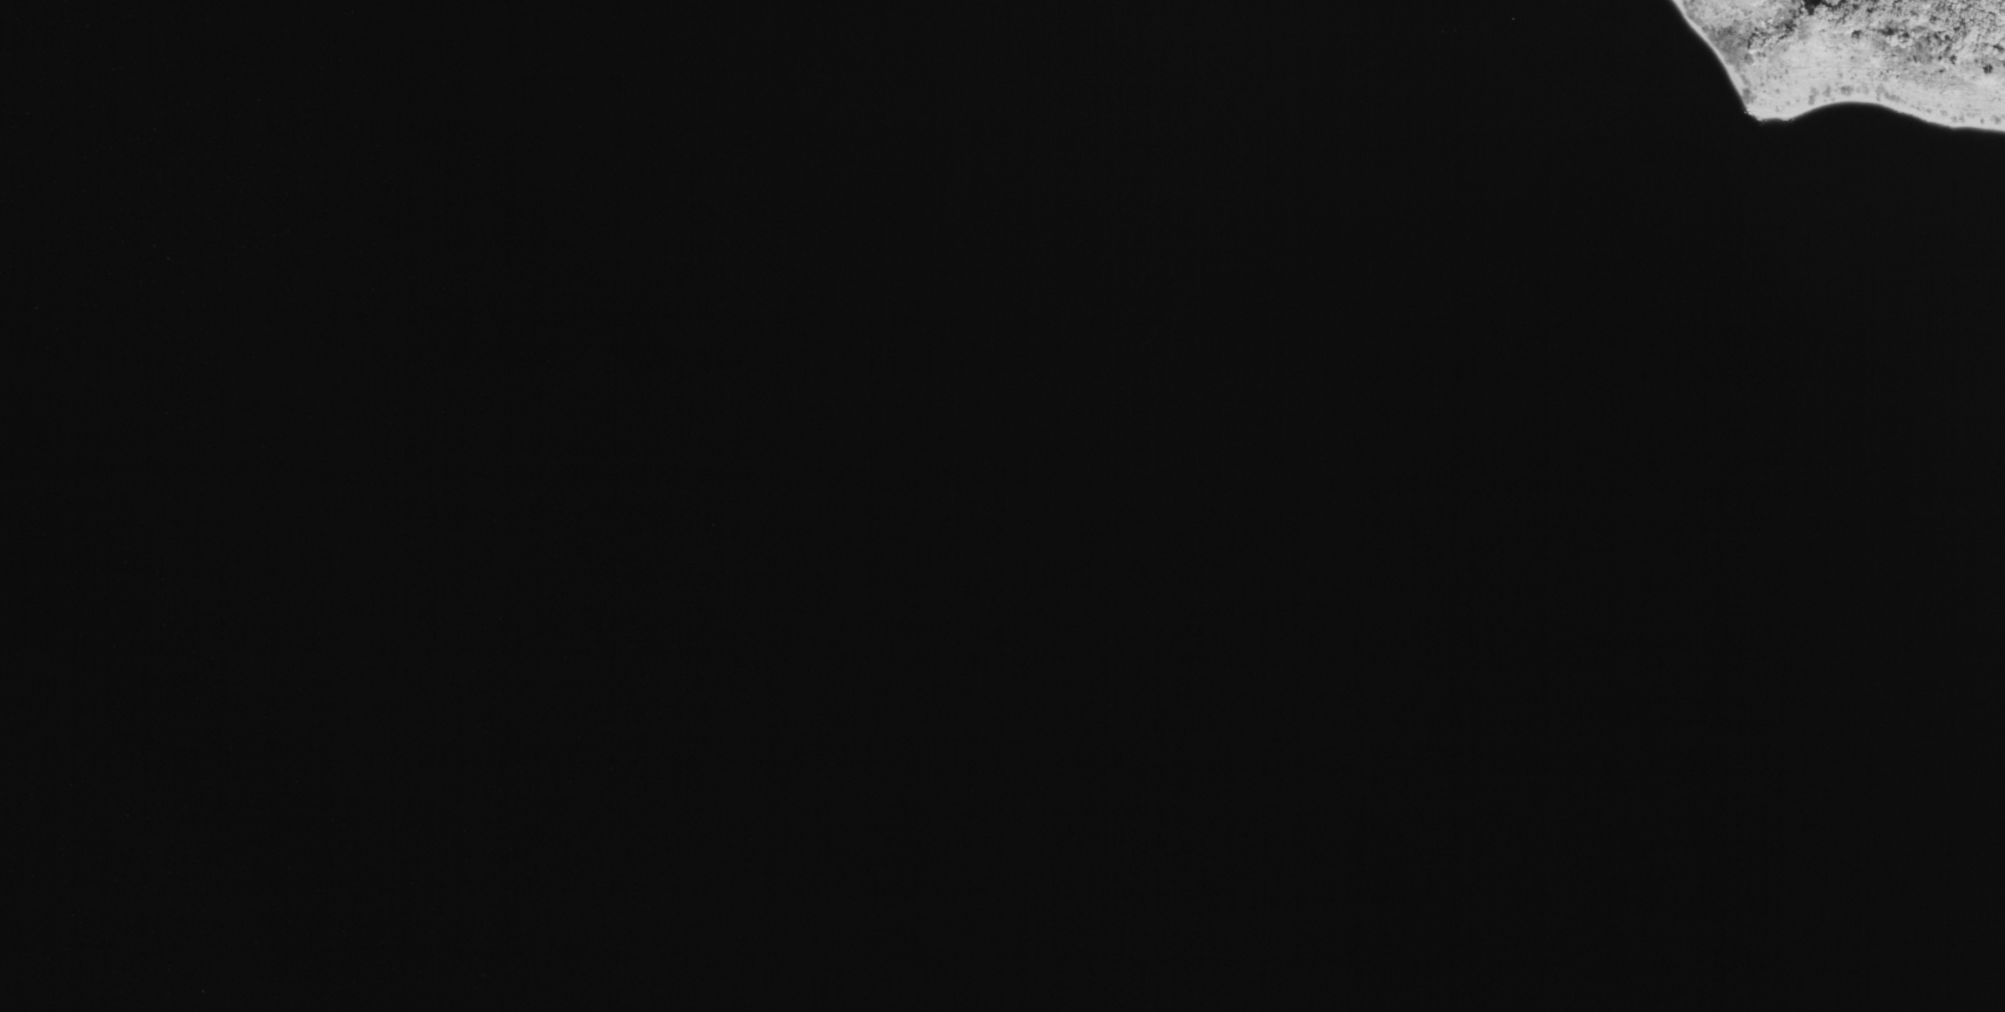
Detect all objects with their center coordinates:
river: (426, 721)

